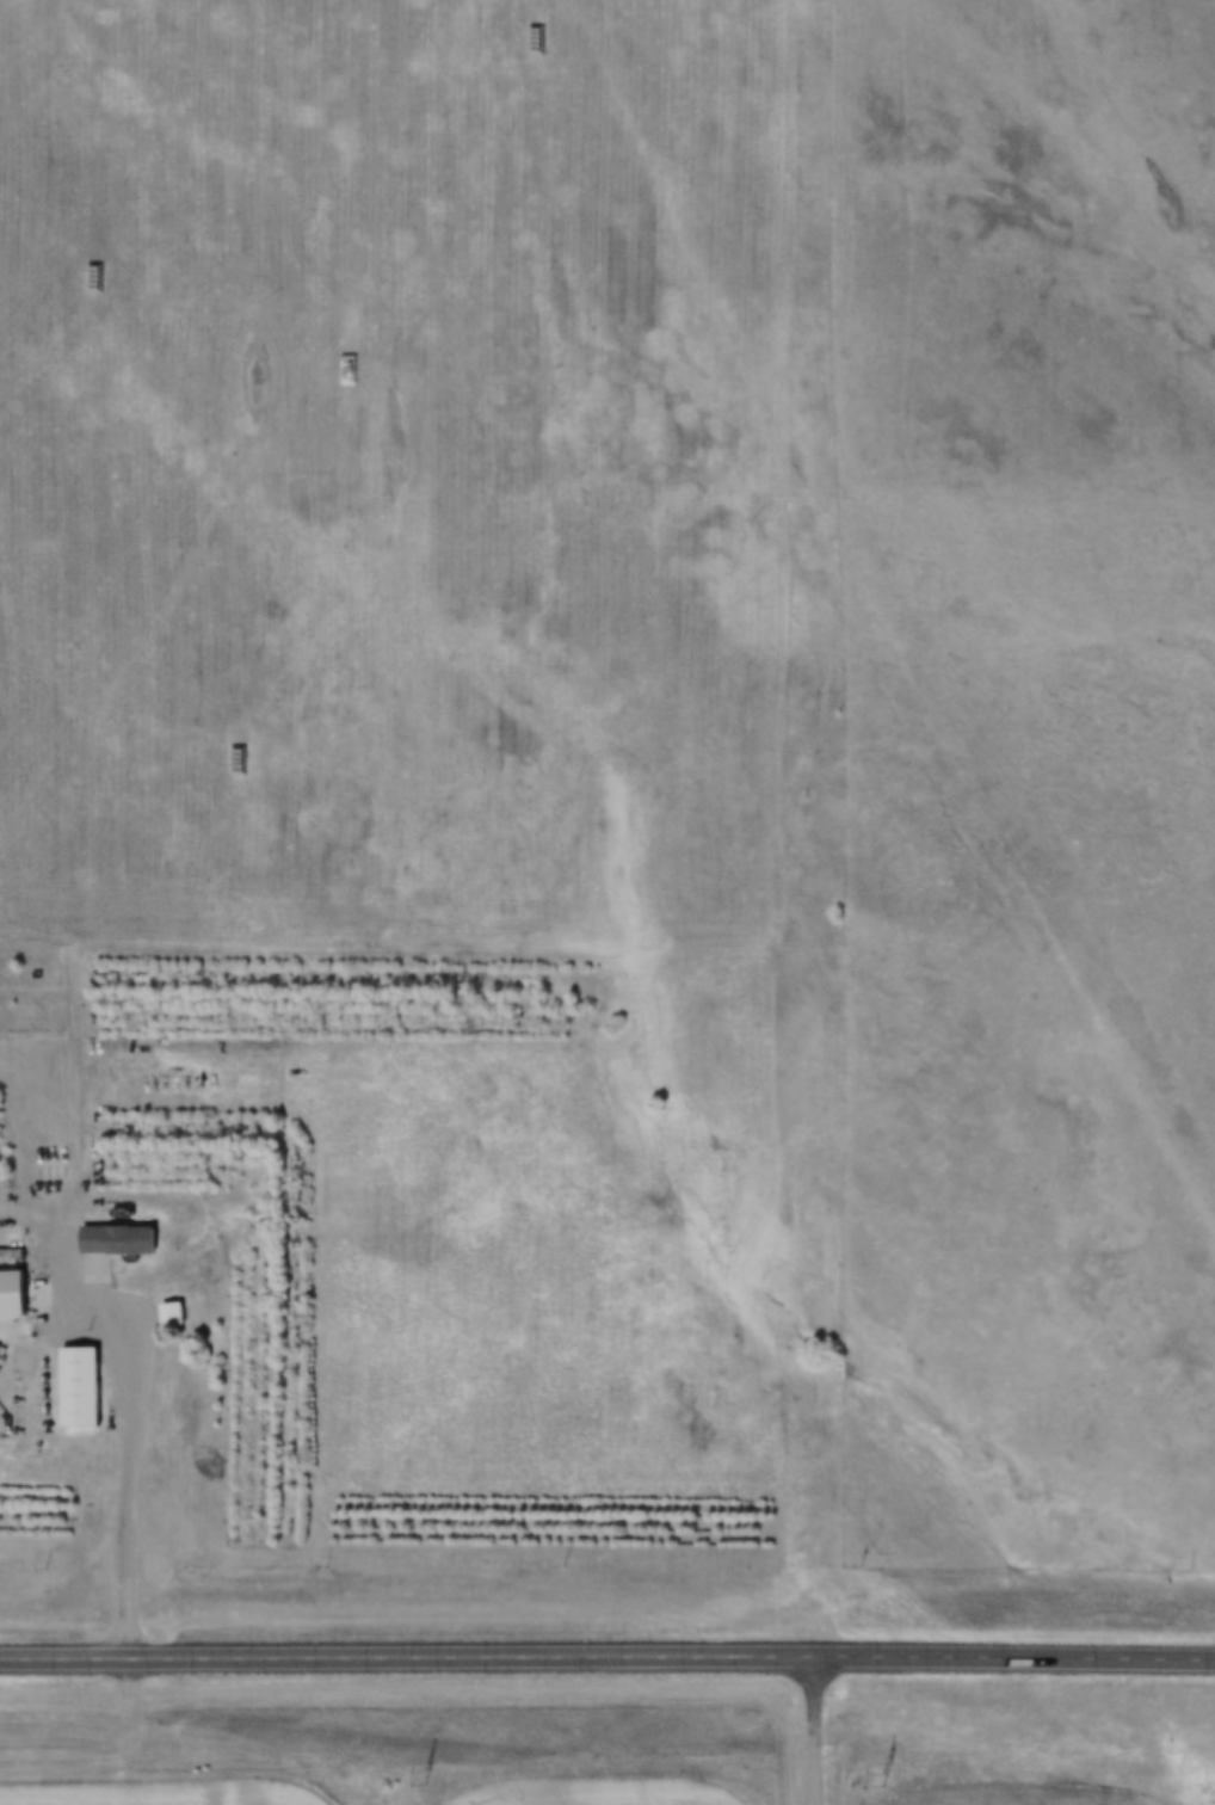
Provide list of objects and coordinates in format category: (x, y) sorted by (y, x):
building: (53, 1164)
building: (123, 1240)
building: (16, 1294)
building: (177, 1316)
building: (85, 1388)
road: (131, 1481)
road: (607, 1655)
road: (815, 1729)

